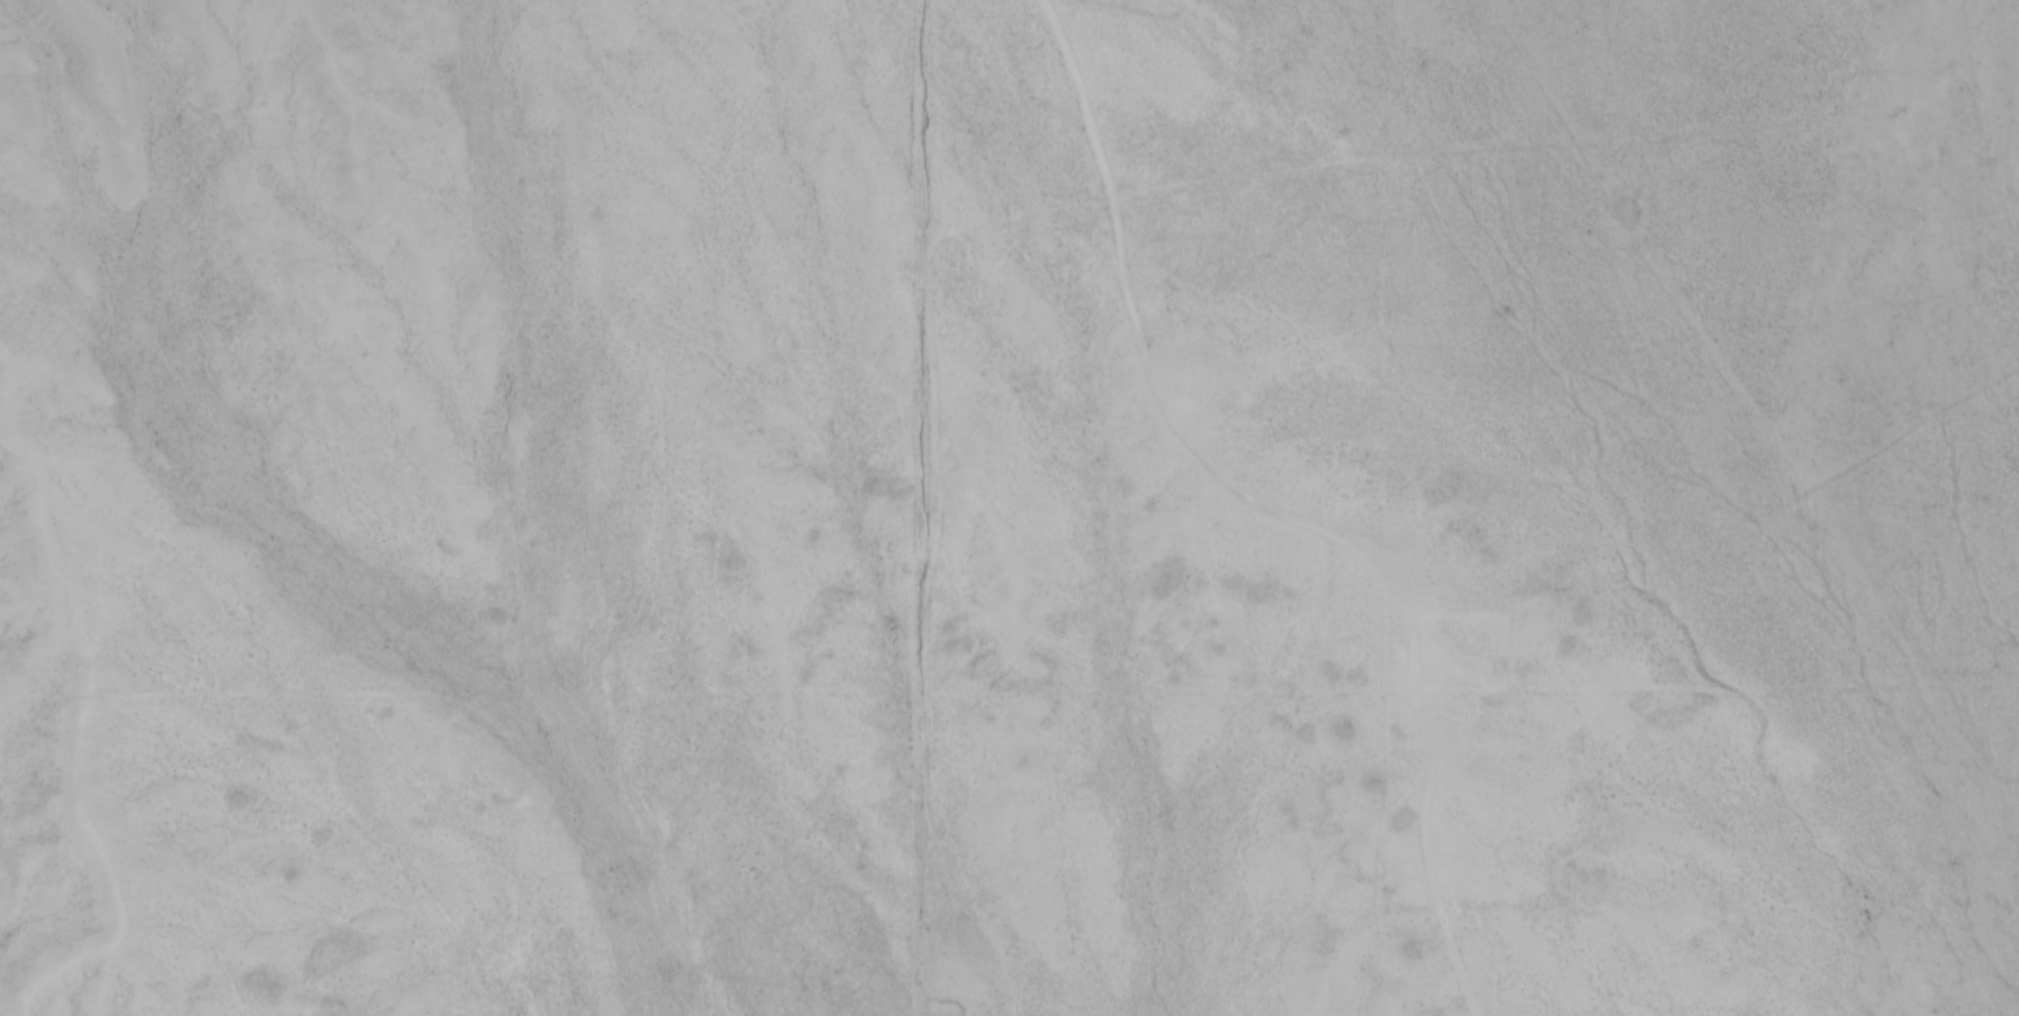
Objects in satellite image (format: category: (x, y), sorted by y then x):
road: (1734, 450)
road: (1280, 487)
road: (928, 508)

